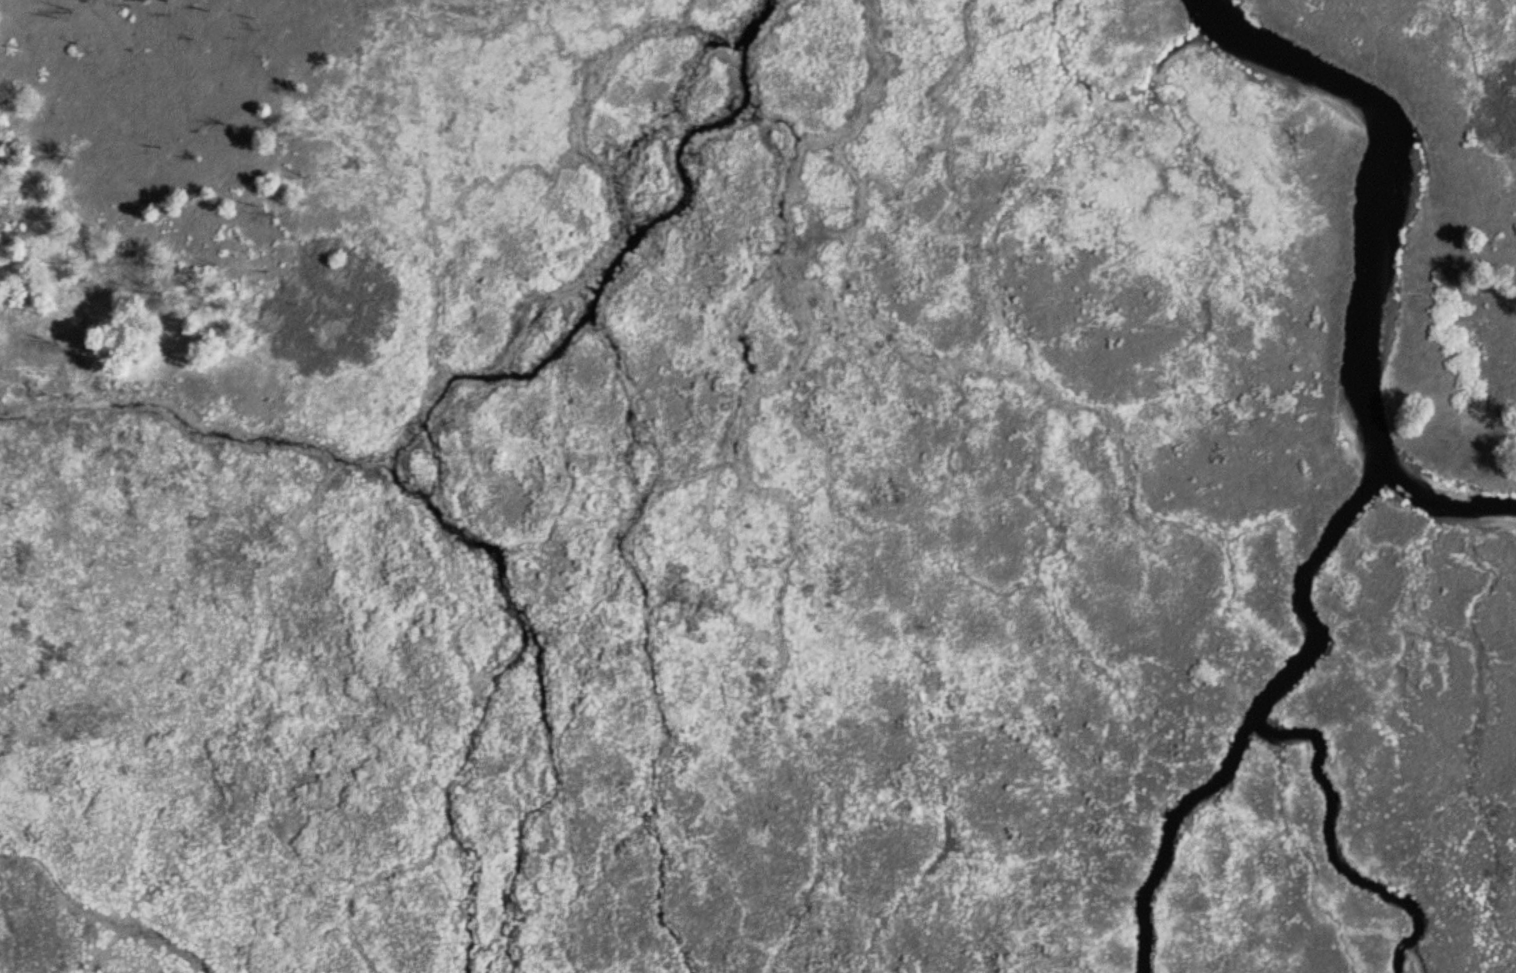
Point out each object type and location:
river: (1381, 257)

